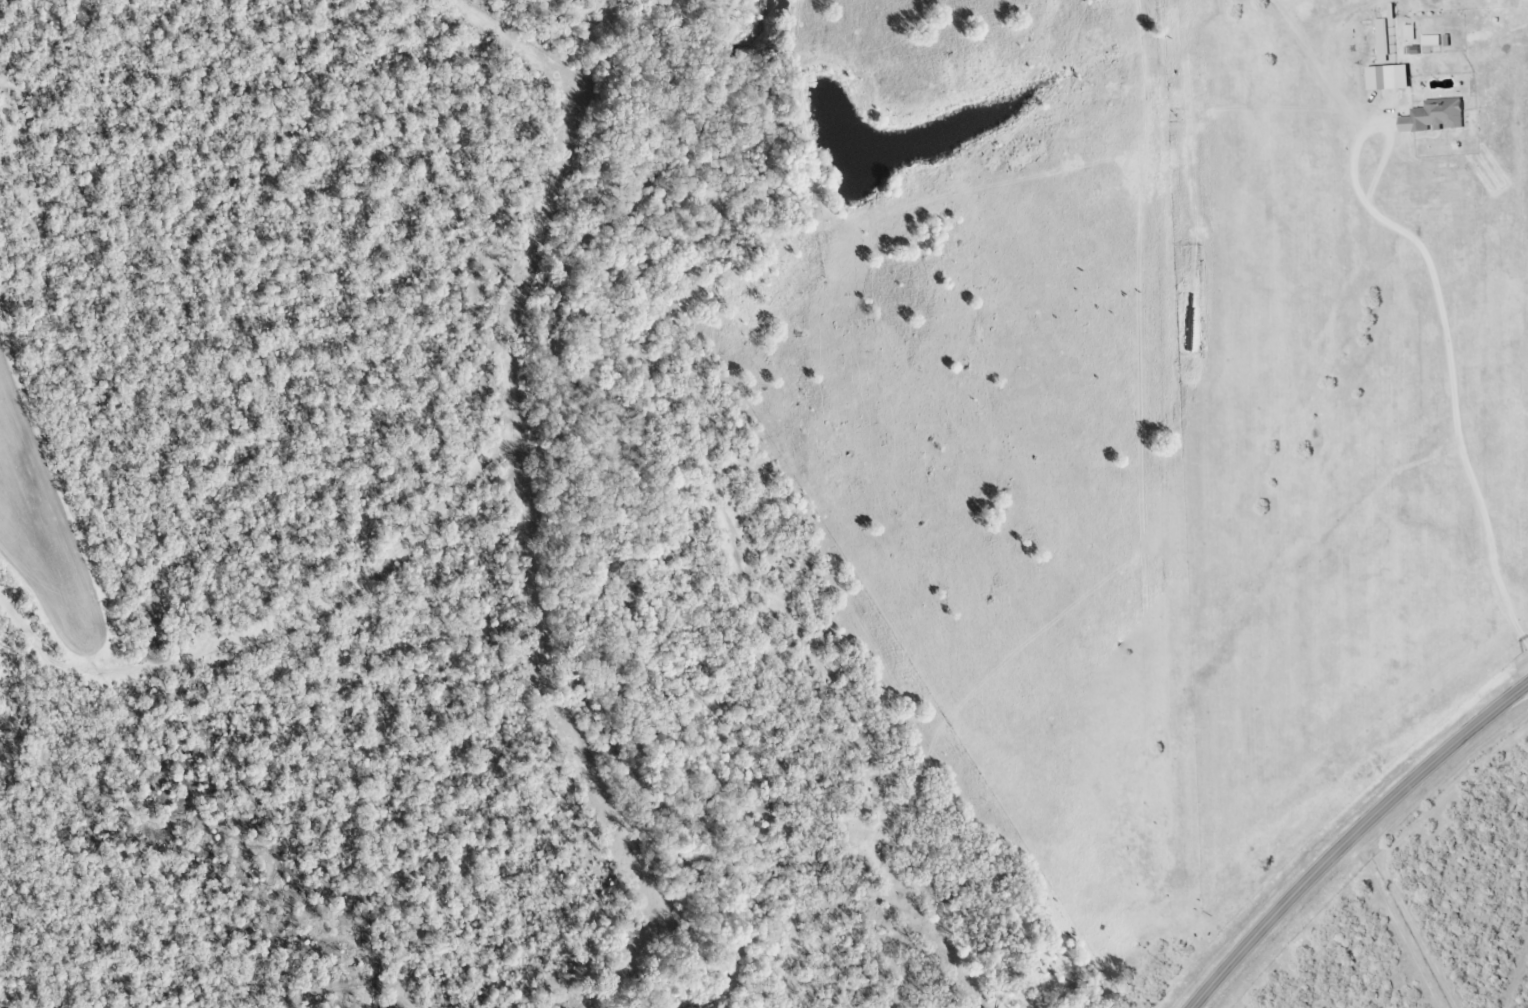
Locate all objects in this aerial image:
building: (1393, 78)
building: (1434, 117)
road: (1381, 164)
road: (1451, 364)
road: (1351, 836)

